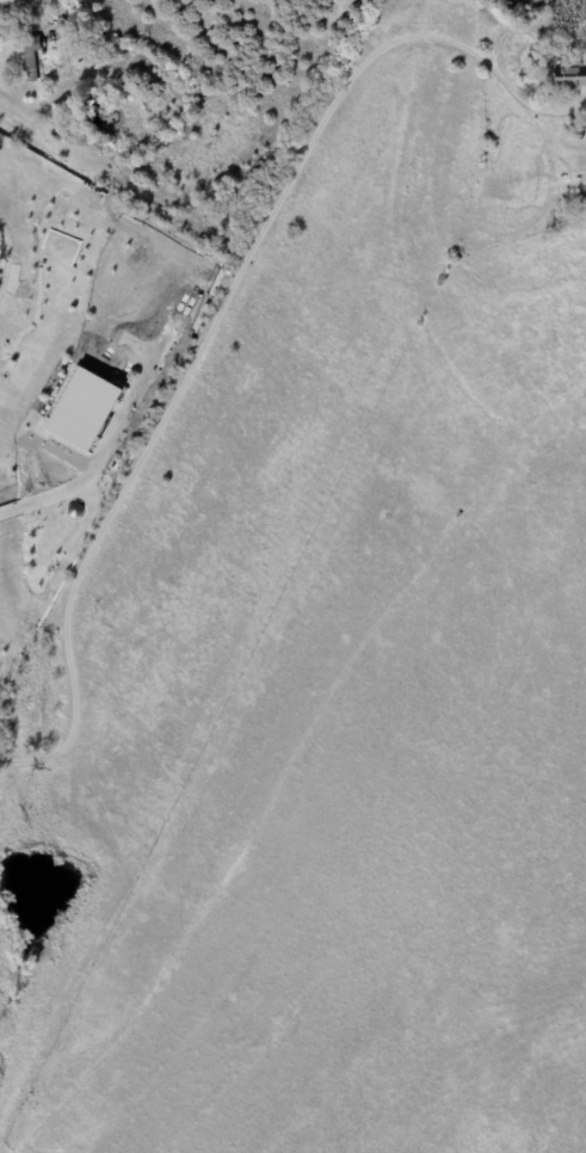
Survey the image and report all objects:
building: (29, 55)
building: (570, 72)
building: (573, 123)
road: (122, 179)
building: (234, 193)
road: (221, 306)
building: (81, 409)

